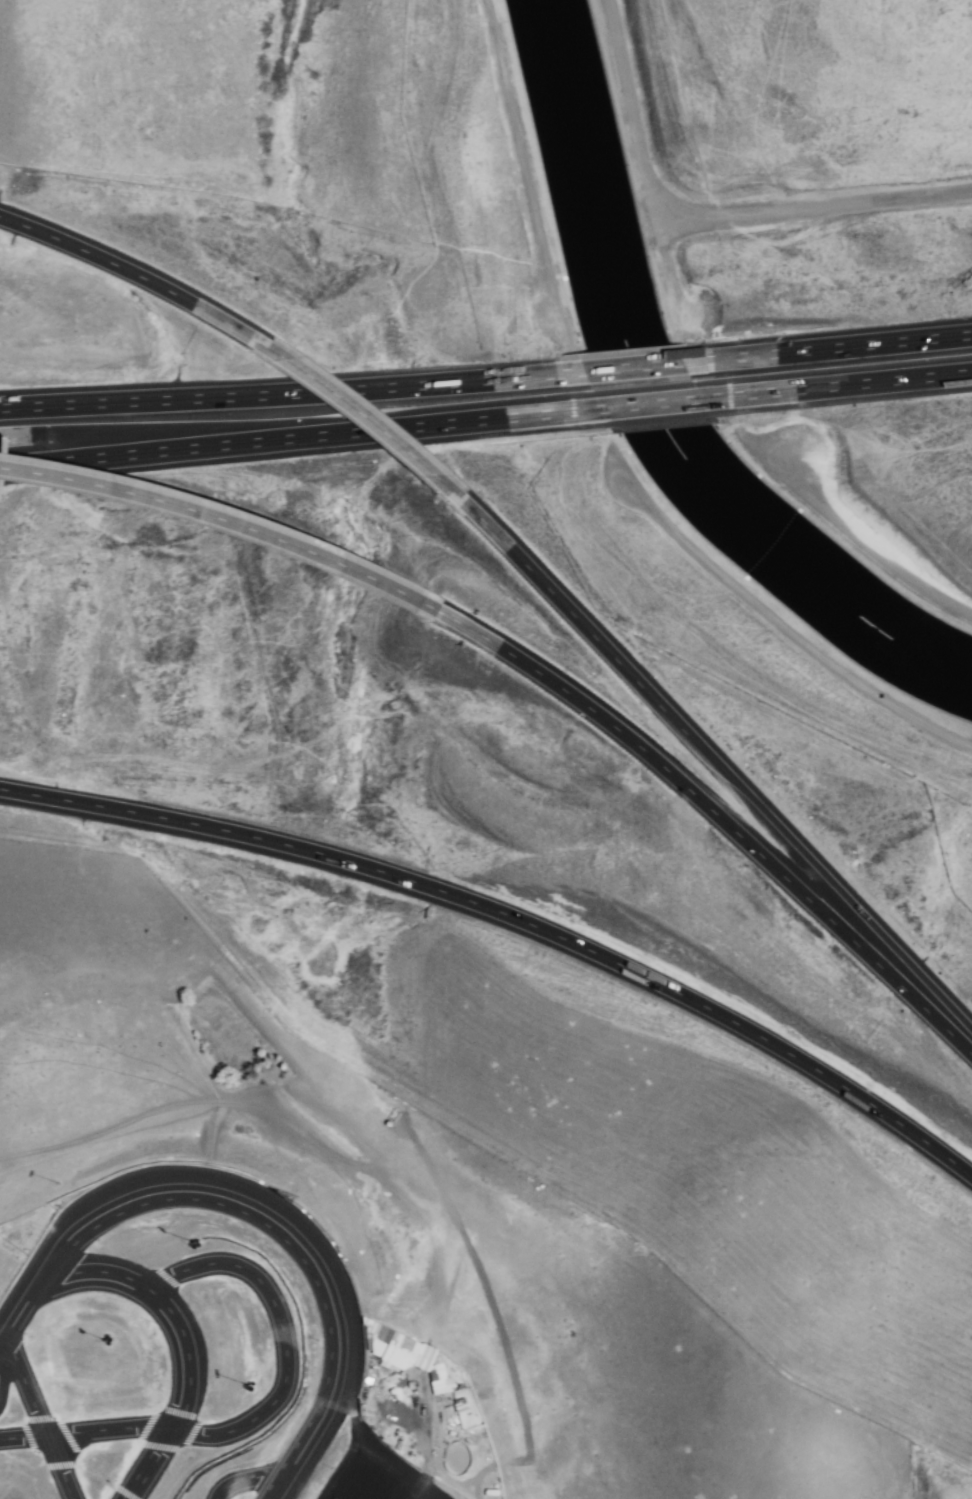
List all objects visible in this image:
road: (636, 115)
road: (813, 215)
road: (665, 268)
road: (132, 272)
road: (873, 343)
road: (632, 366)
road: (883, 380)
road: (245, 395)
road: (650, 403)
road: (362, 414)
road: (253, 441)
road: (224, 520)
road: (715, 763)
road: (717, 815)
road: (512, 917)
raceway: (307, 1204)
raceway: (261, 1206)
building: (7, 1270)
raceway: (176, 1326)
building: (402, 1349)
raceway: (261, 1414)
raceway: (35, 1416)
parking lot: (406, 1430)
road: (374, 1450)
raceway: (240, 1481)

